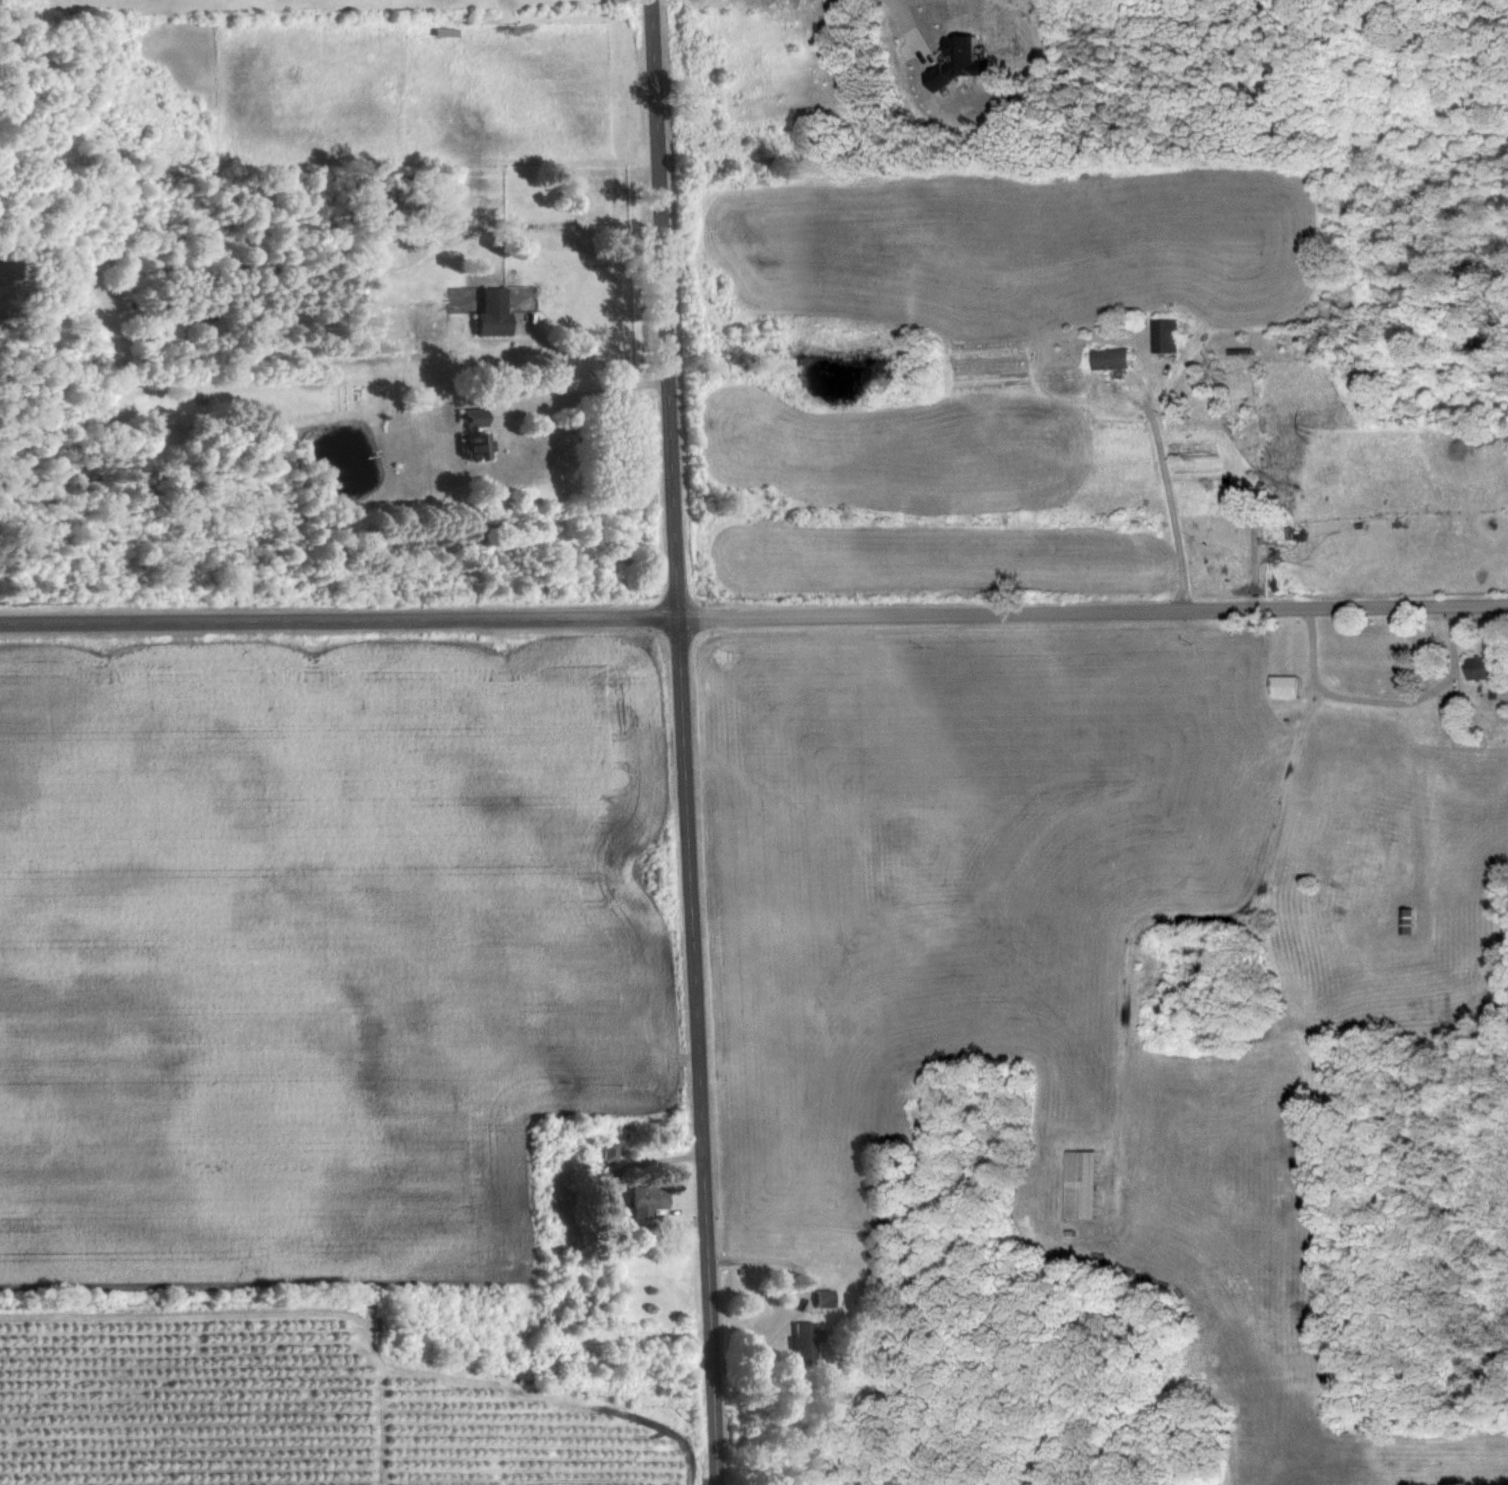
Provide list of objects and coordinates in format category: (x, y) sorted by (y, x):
road: (910, 21)
building: (957, 61)
building: (488, 313)
building: (1163, 335)
building: (1109, 358)
road: (586, 393)
building: (470, 435)
road: (1173, 505)
road: (754, 616)
building: (1477, 668)
building: (1281, 687)
road: (1383, 699)
road: (684, 742)
road: (1189, 917)
building: (1405, 920)
crop: (315, 943)
building: (608, 1152)
building: (1078, 1184)
building: (643, 1201)
road: (796, 1267)
building: (821, 1298)
building: (803, 1342)
crop: (177, 1399)
crop: (521, 1440)

